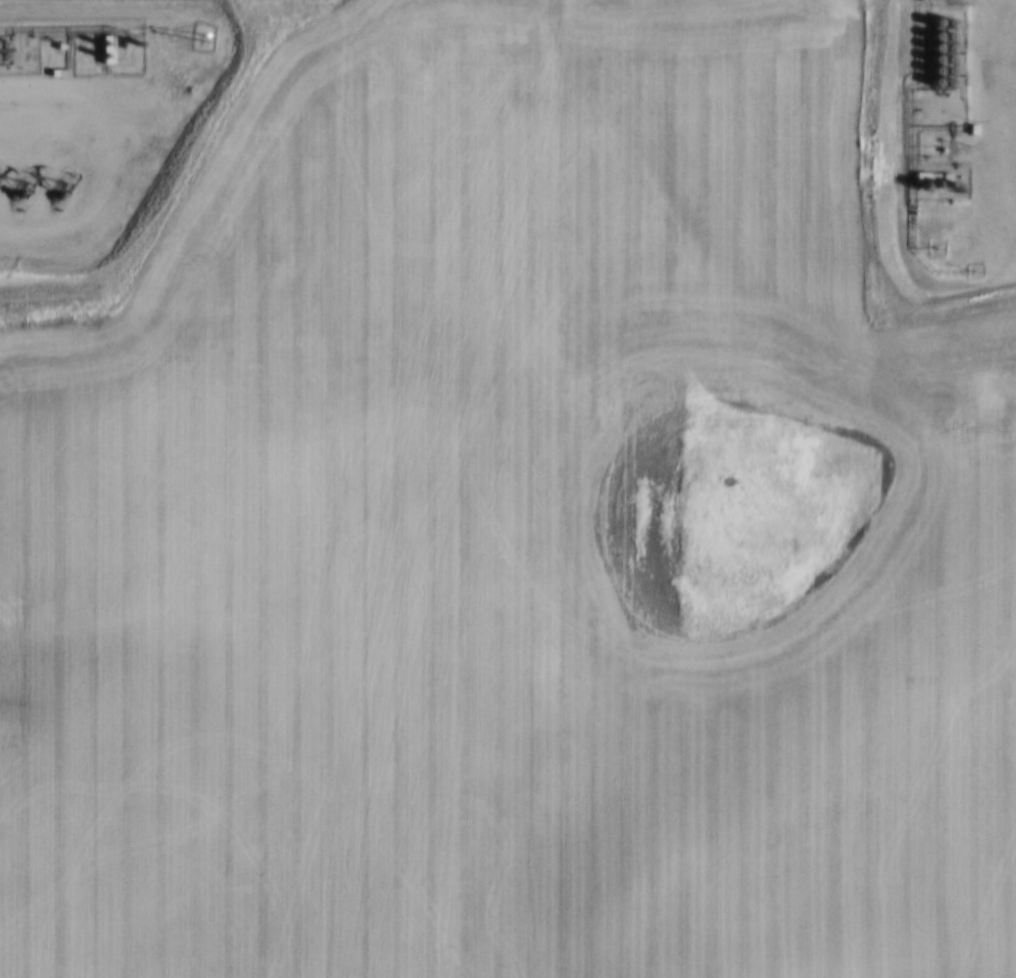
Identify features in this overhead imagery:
building: (935, 18)
storage tank: (935, 18)
building: (947, 19)
storage tank: (947, 19)
building: (935, 33)
storage tank: (935, 33)
building: (947, 33)
storage tank: (947, 33)
building: (3, 41)
storage tank: (3, 41)
building: (935, 44)
storage tank: (935, 44)
building: (947, 44)
storage tank: (947, 44)
building: (4, 53)
storage tank: (4, 53)
building: (934, 56)
storage tank: (934, 56)
building: (947, 56)
storage tank: (947, 56)
building: (935, 67)
storage tank: (935, 67)
building: (947, 67)
storage tank: (947, 67)
building: (934, 78)
storage tank: (934, 78)
building: (946, 79)
storage tank: (946, 79)

